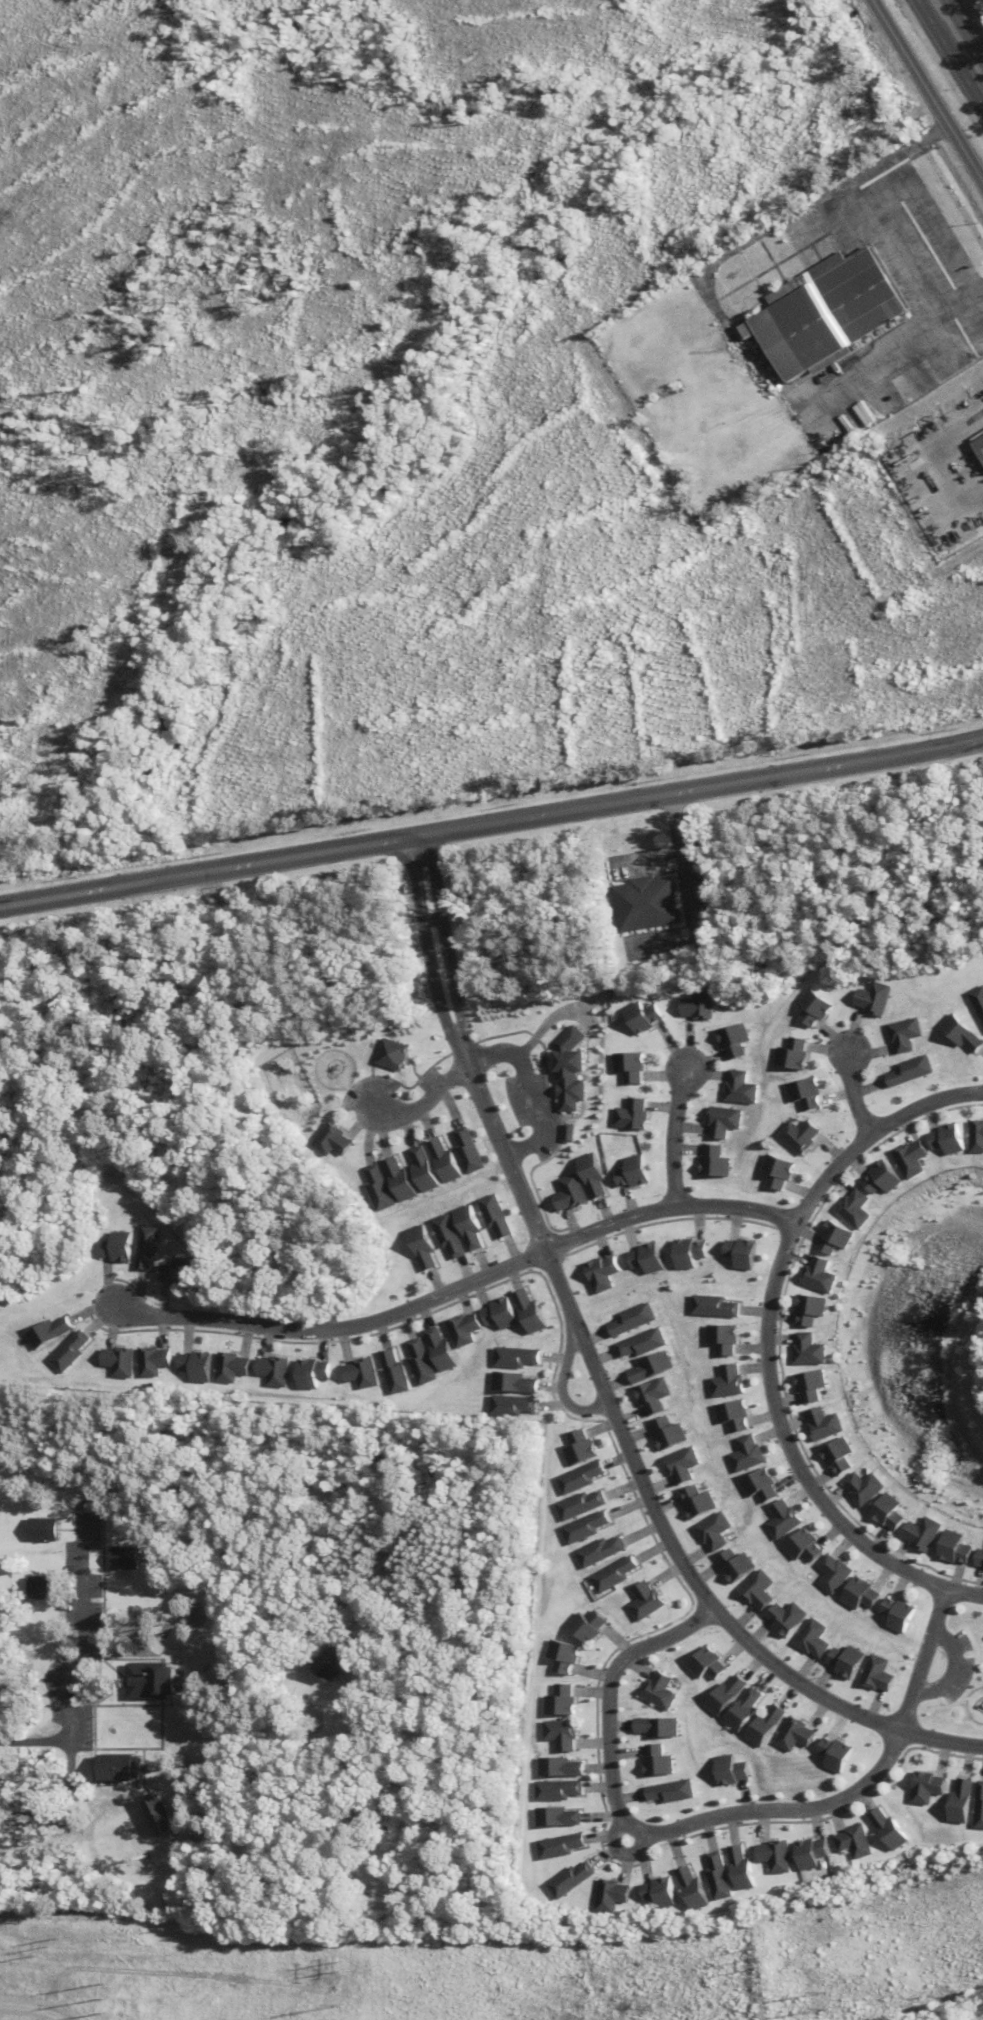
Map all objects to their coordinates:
road: (926, 13)
road: (963, 34)
road: (958, 70)
road: (928, 93)
road: (910, 208)
building: (829, 313)
building: (981, 443)
road: (491, 826)
building: (647, 904)
road: (447, 938)
road: (430, 943)
building: (870, 998)
building: (976, 1001)
building: (696, 1003)
building: (810, 1007)
building: (640, 1016)
building: (901, 1033)
building: (958, 1033)
building: (729, 1039)
building: (392, 1054)
building: (789, 1054)
building: (626, 1066)
building: (566, 1069)
building: (906, 1070)
building: (736, 1088)
road: (848, 1090)
road: (525, 1091)
building: (802, 1093)
road: (425, 1102)
building: (628, 1114)
building: (718, 1121)
road: (671, 1134)
building: (561, 1135)
building: (795, 1135)
building: (974, 1136)
building: (943, 1139)
building: (332, 1140)
building: (465, 1151)
building: (906, 1158)
building: (441, 1161)
building: (709, 1162)
building: (421, 1169)
building: (773, 1170)
building: (629, 1171)
building: (588, 1174)
building: (878, 1178)
building: (398, 1179)
building: (377, 1188)
building: (566, 1193)
road: (665, 1208)
building: (850, 1209)
building: (491, 1215)
building: (465, 1226)
building: (445, 1235)
building: (830, 1237)
building: (153, 1245)
building: (419, 1246)
building: (122, 1247)
building: (685, 1253)
building: (738, 1253)
building: (643, 1258)
building: (181, 1272)
building: (598, 1273)
building: (815, 1275)
building: (712, 1306)
building: (805, 1309)
building: (529, 1312)
building: (499, 1313)
building: (629, 1319)
road: (334, 1328)
building: (463, 1329)
building: (52, 1332)
building: (721, 1339)
road: (766, 1341)
building: (639, 1343)
building: (439, 1349)
building: (804, 1350)
building: (73, 1352)
building: (516, 1357)
building: (121, 1360)
building: (156, 1361)
building: (420, 1362)
building: (198, 1366)
building: (233, 1367)
building: (647, 1367)
building: (275, 1370)
building: (394, 1372)
building: (312, 1373)
building: (361, 1373)
building: (725, 1381)
building: (515, 1383)
building: (807, 1385)
road: (561, 1389)
building: (650, 1395)
building: (513, 1405)
building: (731, 1416)
building: (820, 1424)
building: (664, 1433)
building: (577, 1448)
building: (744, 1454)
building: (835, 1455)
building: (679, 1464)
road: (639, 1470)
building: (578, 1477)
building: (758, 1486)
building: (861, 1487)
building: (695, 1503)
building: (578, 1504)
building: (886, 1512)
building: (782, 1520)
building: (583, 1527)
road: (201, 1528)
building: (713, 1531)
building: (921, 1533)
building: (804, 1547)
building: (953, 1548)
building: (598, 1551)
building: (979, 1557)
building: (736, 1566)
building: (613, 1574)
building: (833, 1574)
building: (41, 1587)
building: (759, 1590)
building: (863, 1595)
building: (644, 1601)
building: (899, 1614)
building: (789, 1618)
building: (587, 1625)
building: (816, 1639)
building: (563, 1656)
road: (70, 1658)
road: (923, 1658)
building: (851, 1661)
building: (339, 1664)
building: (712, 1664)
road: (954, 1669)
building: (882, 1673)
building: (151, 1676)
building: (665, 1690)
building: (733, 1694)
building: (561, 1701)
building: (752, 1709)
building: (775, 1725)
building: (662, 1726)
building: (562, 1734)
building: (803, 1734)
road: (30, 1742)
building: (843, 1754)
building: (665, 1760)
building: (119, 1765)
building: (561, 1767)
building: (739, 1769)
building: (927, 1787)
building: (558, 1790)
building: (678, 1791)
building: (960, 1802)
building: (979, 1807)
building: (165, 1814)
building: (558, 1817)
building: (890, 1829)
road: (646, 1833)
road: (63, 1841)
building: (856, 1842)
building: (561, 1845)
building: (812, 1853)
road: (621, 1854)
building: (776, 1856)
building: (743, 1868)
building: (720, 1878)
building: (572, 1880)
building: (694, 1889)
building: (661, 1893)
building: (612, 1895)
power tower: (821, 2009)

